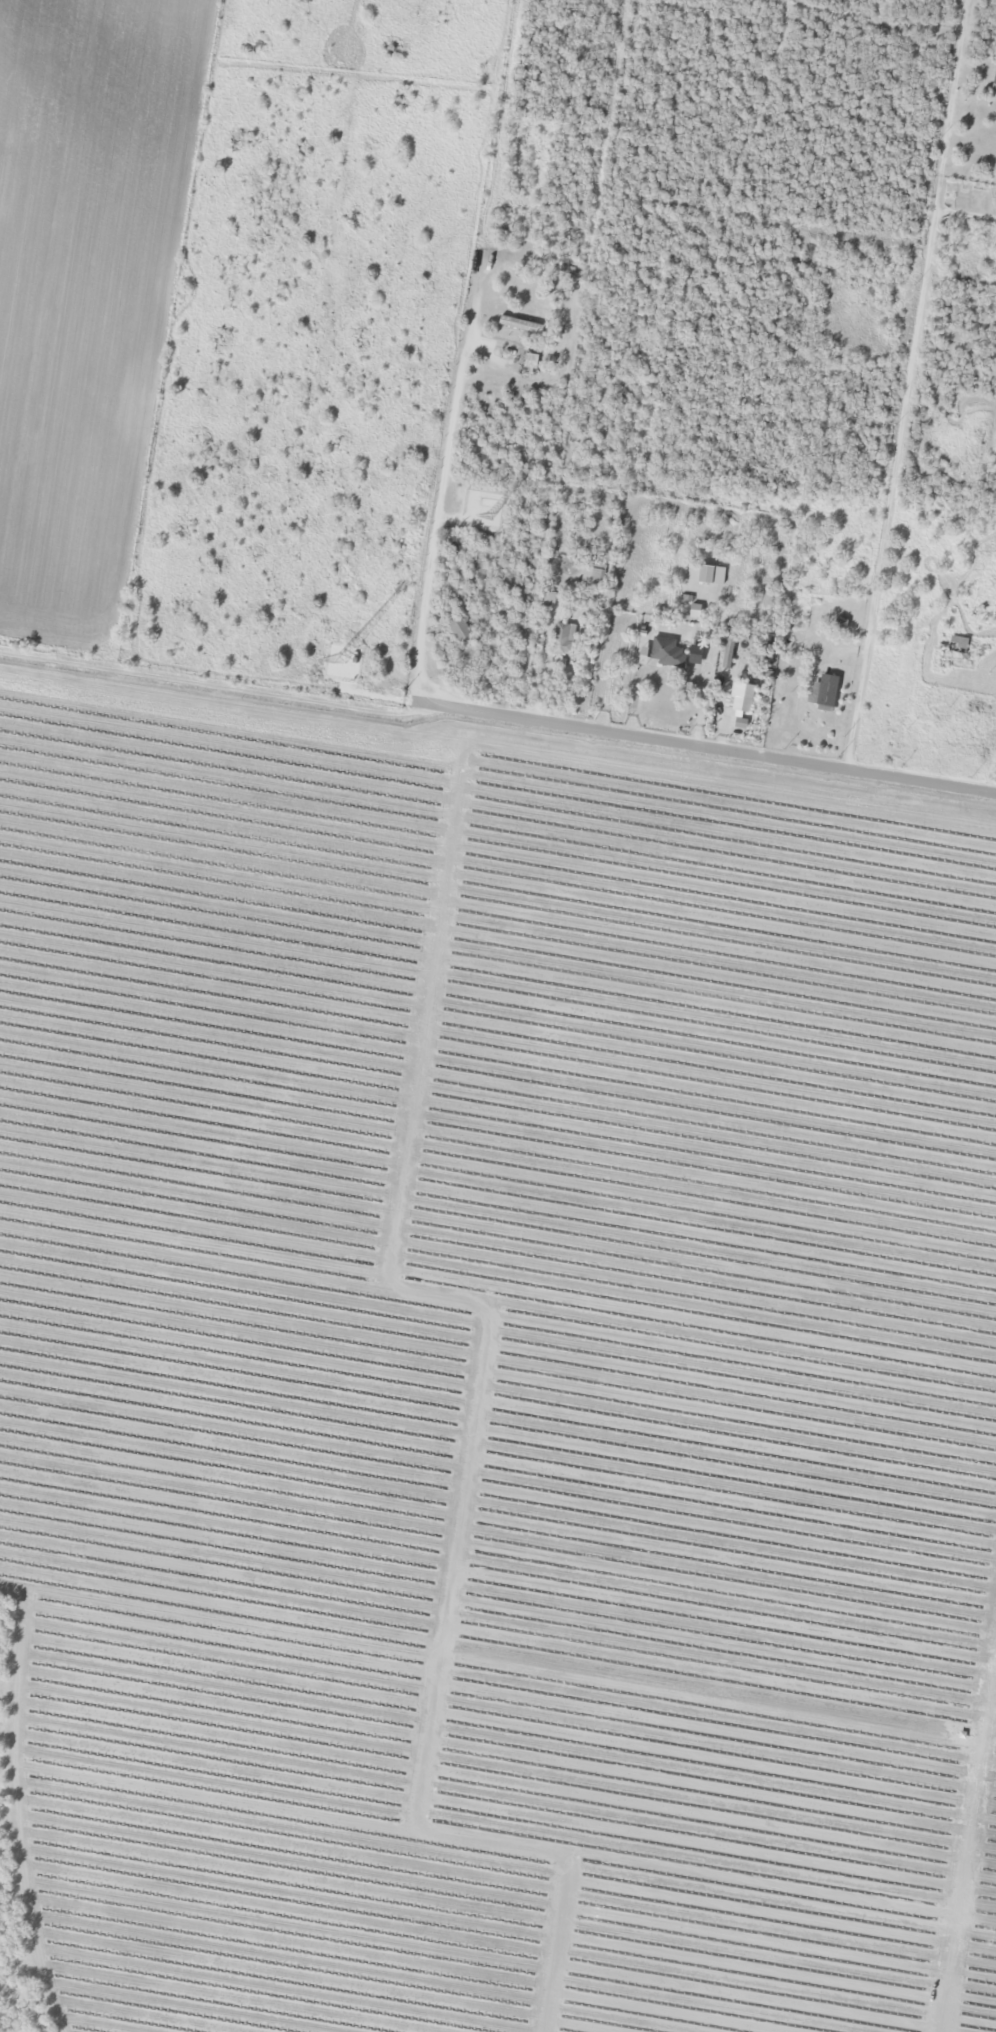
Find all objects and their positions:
building: (993, 82)
building: (519, 325)
building: (528, 365)
building: (699, 574)
building: (589, 577)
building: (458, 629)
building: (561, 640)
building: (665, 653)
building: (694, 655)
building: (953, 657)
building: (824, 693)
building: (739, 699)
road: (498, 702)

